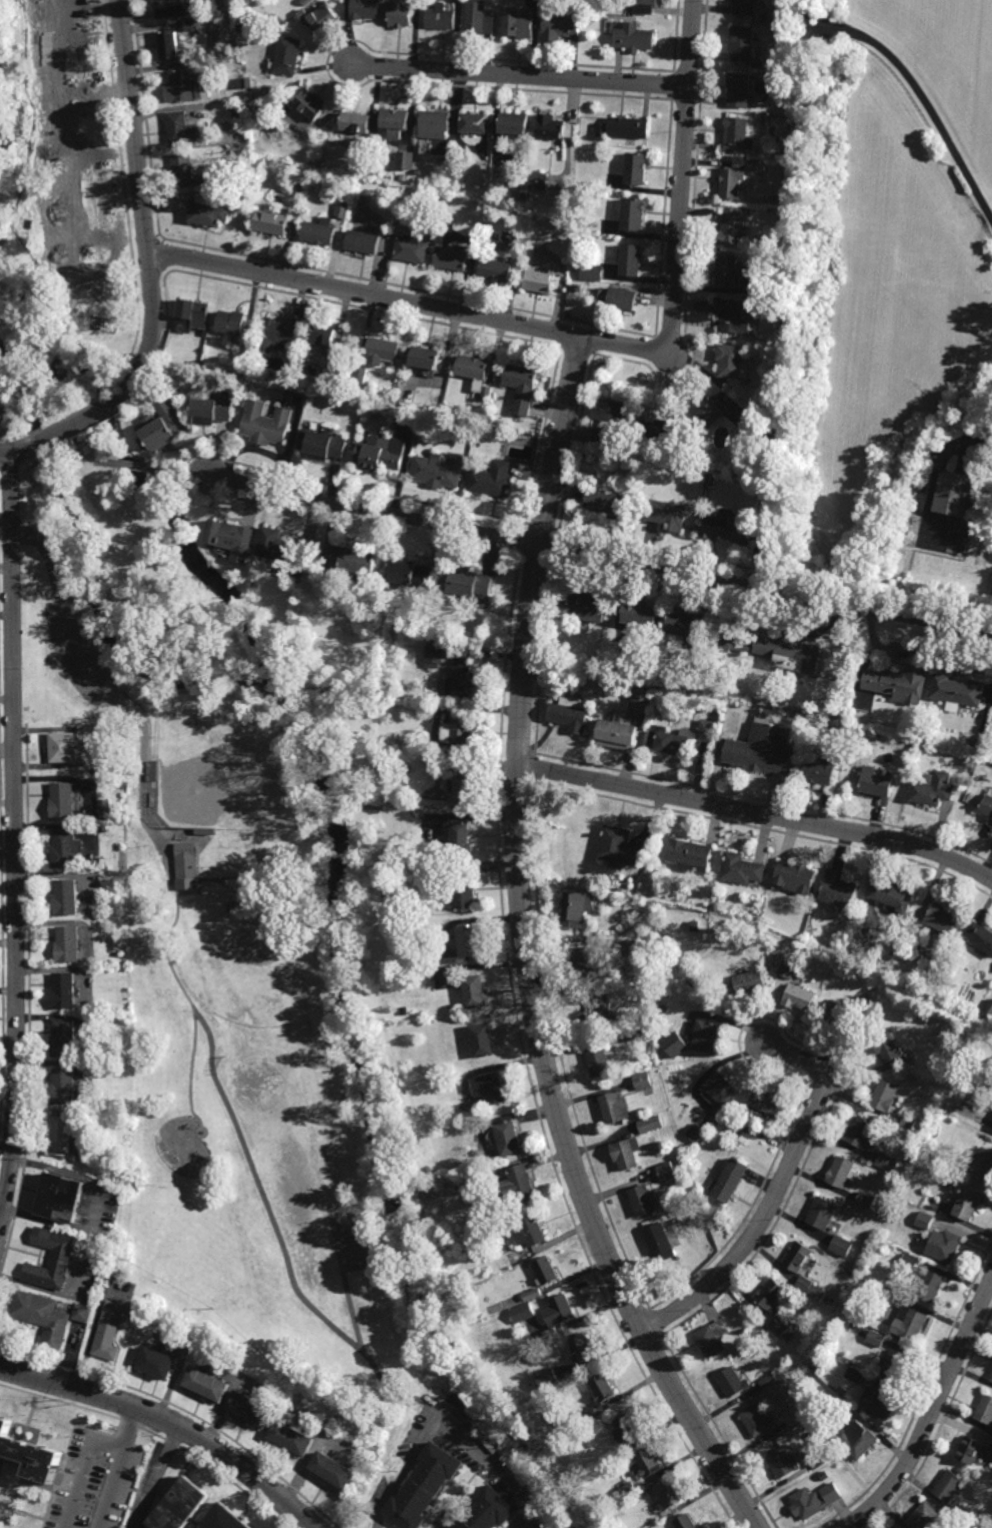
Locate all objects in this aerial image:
building: (646, 2)
building: (169, 7)
building: (364, 7)
building: (742, 8)
building: (317, 12)
building: (400, 12)
building: (440, 15)
building: (478, 16)
building: (764, 18)
building: (190, 23)
building: (515, 23)
building: (558, 24)
building: (634, 35)
building: (241, 36)
building: (168, 42)
building: (741, 44)
building: (286, 52)
building: (757, 65)
road: (519, 75)
building: (178, 84)
building: (738, 87)
building: (201, 88)
road: (914, 91)
building: (309, 101)
building: (237, 105)
building: (354, 120)
building: (394, 120)
building: (473, 121)
building: (512, 121)
building: (434, 123)
building: (549, 125)
building: (179, 126)
building: (624, 126)
building: (737, 134)
building: (350, 143)
building: (439, 148)
building: (404, 159)
building: (181, 166)
building: (635, 166)
building: (756, 166)
building: (417, 171)
road: (682, 172)
building: (211, 177)
building: (537, 180)
building: (731, 180)
building: (300, 186)
building: (241, 188)
road: (125, 194)
building: (523, 194)
building: (774, 198)
building: (342, 208)
building: (207, 212)
building: (633, 213)
building: (271, 220)
building: (731, 224)
building: (318, 230)
building: (363, 240)
building: (411, 247)
building: (450, 257)
building: (630, 258)
road: (150, 270)
building: (494, 270)
building: (730, 270)
building: (591, 271)
building: (538, 281)
building: (577, 287)
building: (622, 297)
road: (409, 302)
building: (776, 307)
building: (731, 314)
building: (192, 315)
building: (231, 322)
road: (683, 332)
building: (279, 335)
building: (324, 336)
building: (381, 351)
building: (425, 358)
building: (730, 362)
building: (195, 363)
building: (206, 364)
building: (473, 370)
building: (256, 371)
building: (359, 374)
building: (309, 385)
building: (522, 386)
building: (486, 392)
building: (244, 402)
building: (611, 409)
building: (705, 410)
building: (214, 412)
building: (401, 414)
building: (766, 415)
building: (267, 425)
building: (163, 426)
building: (311, 426)
building: (655, 427)
building: (601, 435)
building: (86, 441)
building: (327, 447)
building: (687, 447)
road: (957, 449)
building: (381, 455)
building: (691, 459)
road: (101, 461)
road: (134, 464)
road: (171, 470)
building: (439, 471)
road: (197, 475)
building: (493, 482)
road: (351, 487)
building: (951, 495)
building: (609, 505)
building: (667, 516)
road: (541, 526)
building: (728, 532)
road: (521, 536)
building: (231, 537)
road: (556, 546)
building: (288, 552)
road: (599, 556)
building: (356, 564)
building: (415, 578)
building: (472, 586)
building: (591, 607)
building: (643, 616)
building: (690, 625)
road: (72, 635)
road: (540, 652)
building: (433, 654)
building: (789, 655)
parking lot: (86, 668)
building: (611, 680)
building: (463, 684)
building: (899, 686)
building: (709, 687)
building: (957, 693)
building: (639, 700)
building: (570, 716)
building: (706, 730)
building: (619, 733)
building: (850, 733)
building: (459, 736)
building: (672, 744)
building: (63, 746)
building: (764, 748)
road: (534, 765)
park: (221, 766)
building: (824, 772)
building: (154, 773)
building: (876, 784)
building: (464, 788)
building: (932, 791)
building: (64, 799)
building: (388, 799)
road: (766, 800)
building: (105, 806)
building: (987, 807)
road: (757, 813)
building: (104, 828)
road: (765, 829)
building: (88, 834)
building: (461, 839)
road: (16, 841)
building: (618, 845)
building: (65, 847)
building: (689, 853)
building: (436, 854)
building: (185, 866)
building: (743, 869)
building: (797, 878)
building: (839, 888)
building: (622, 890)
building: (609, 895)
building: (890, 895)
building: (286, 896)
building: (65, 897)
building: (465, 897)
building: (578, 909)
building: (902, 925)
building: (945, 926)
building: (980, 938)
building: (469, 943)
building: (66, 944)
building: (300, 945)
road: (526, 953)
building: (423, 957)
building: (583, 961)
park: (244, 964)
building: (786, 968)
building: (620, 971)
building: (745, 987)
building: (63, 990)
building: (476, 993)
building: (798, 1000)
building: (598, 1013)
building: (849, 1013)
park: (252, 1016)
road: (779, 1025)
building: (636, 1032)
building: (63, 1037)
building: (707, 1037)
building: (482, 1041)
building: (675, 1044)
building: (886, 1048)
road: (559, 1052)
building: (651, 1058)
building: (600, 1059)
road: (526, 1061)
building: (910, 1068)
road: (191, 1069)
building: (642, 1081)
building: (62, 1085)
building: (495, 1089)
building: (720, 1090)
park: (271, 1092)
building: (884, 1097)
building: (767, 1102)
road: (228, 1105)
building: (615, 1109)
building: (906, 1122)
building: (650, 1124)
building: (728, 1129)
building: (696, 1133)
building: (862, 1135)
building: (60, 1137)
building: (508, 1138)
building: (626, 1153)
building: (884, 1162)
building: (984, 1165)
building: (667, 1171)
building: (841, 1172)
building: (521, 1178)
building: (733, 1181)
road: (777, 1190)
building: (60, 1198)
building: (863, 1200)
building: (644, 1201)
building: (969, 1205)
building: (823, 1213)
building: (923, 1220)
building: (531, 1233)
park: (352, 1239)
building: (658, 1239)
building: (882, 1245)
building: (839, 1246)
building: (945, 1246)
building: (61, 1255)
building: (799, 1257)
building: (908, 1263)
building: (546, 1272)
building: (932, 1286)
building: (808, 1289)
building: (531, 1295)
building: (771, 1295)
building: (886, 1297)
building: (827, 1300)
road: (350, 1309)
building: (560, 1309)
building: (522, 1312)
building: (81, 1313)
road: (632, 1316)
building: (41, 1318)
road: (654, 1323)
building: (911, 1323)
building: (777, 1325)
building: (110, 1330)
building: (787, 1335)
building: (744, 1337)
building: (875, 1337)
building: (712, 1338)
road: (647, 1345)
building: (583, 1348)
building: (156, 1363)
building: (894, 1364)
building: (854, 1374)
building: (796, 1375)
building: (788, 1378)
building: (547, 1379)
building: (766, 1380)
building: (991, 1380)
building: (206, 1383)
building: (732, 1383)
building: (602, 1388)
road: (922, 1396)
building: (879, 1402)
building: (251, 1408)
building: (984, 1410)
road: (933, 1411)
building: (588, 1413)
road: (171, 1422)
building: (759, 1423)
road: (939, 1426)
building: (627, 1429)
road: (719, 1432)
building: (292, 1437)
building: (858, 1440)
building: (991, 1447)
building: (971, 1452)
building: (30, 1455)
building: (991, 1455)
building: (648, 1462)
building: (785, 1463)
road: (494, 1467)
road: (117, 1468)
building: (333, 1469)
road: (83, 1472)
road: (405, 1472)
road: (151, 1474)
building: (949, 1485)
building: (422, 1486)
building: (627, 1489)
building: (667, 1496)
building: (807, 1504)
building: (178, 1506)
building: (486, 1510)
building: (924, 1517)
building: (223, 1518)
building: (686, 1523)
road: (522, 1526)

